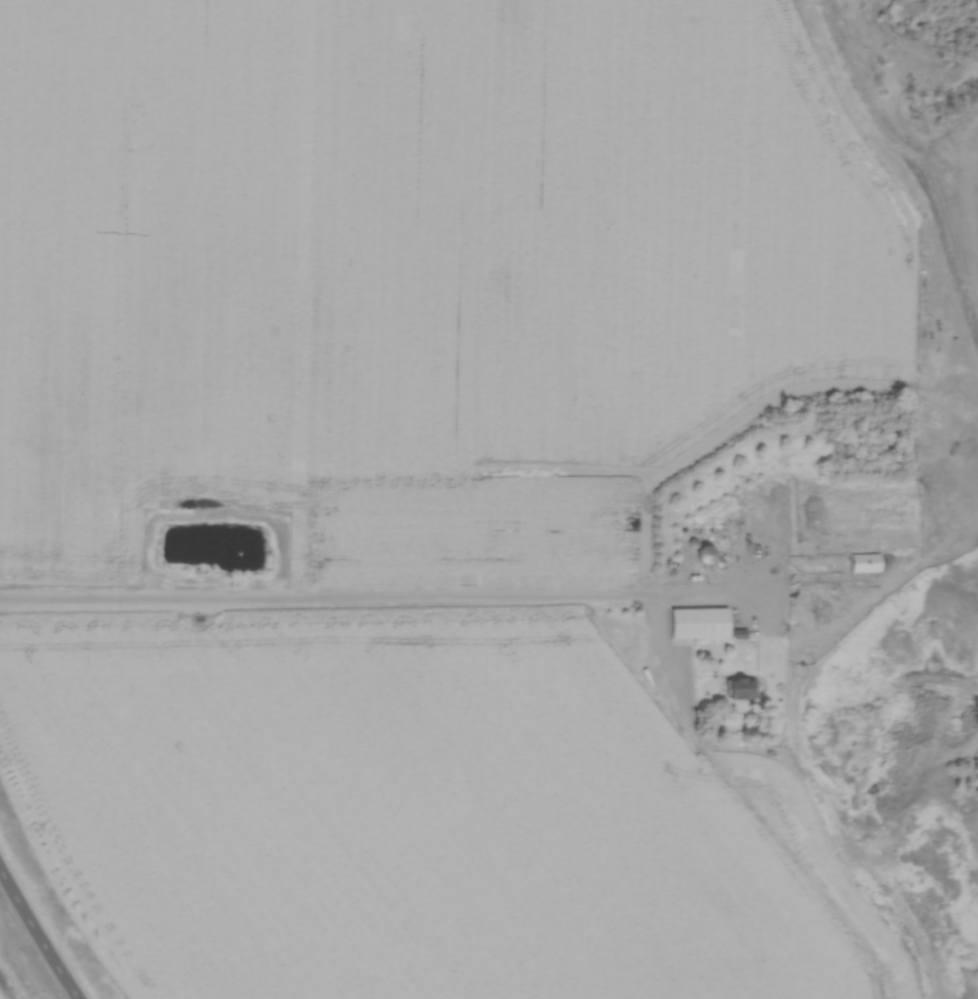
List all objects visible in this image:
building: (861, 564)
road: (379, 597)
building: (696, 626)
building: (740, 690)
road: (37, 936)

